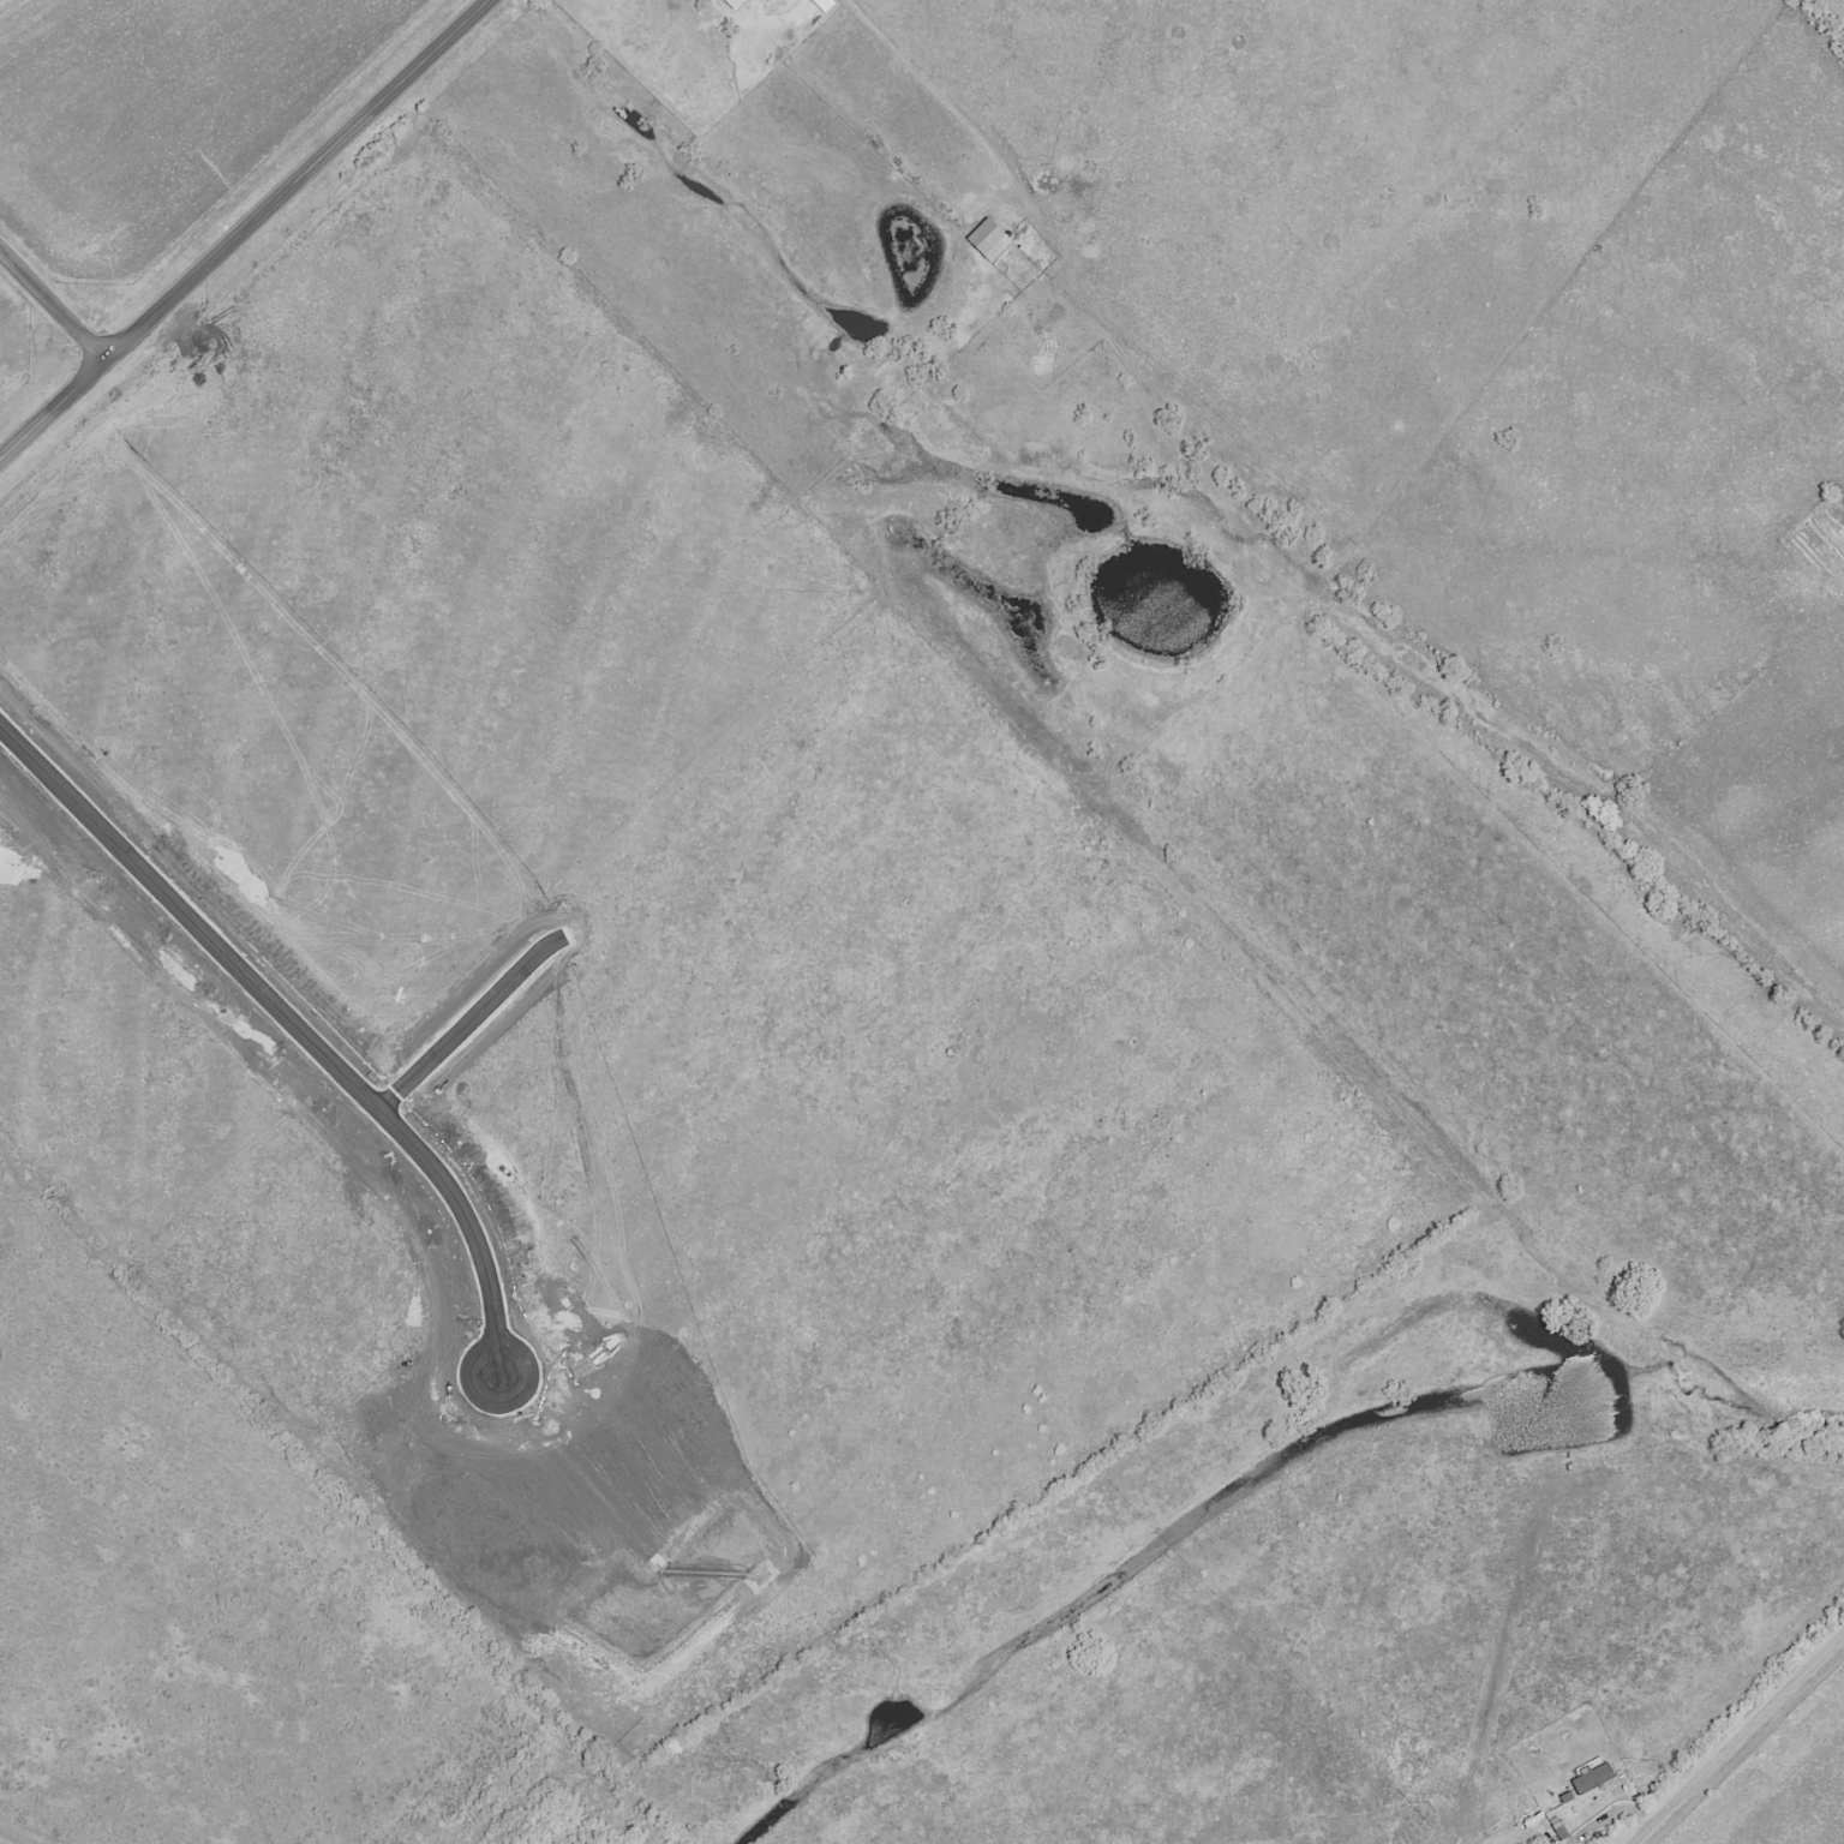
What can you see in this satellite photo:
building: (734, 4)
building: (822, 5)
road: (245, 230)
building: (988, 240)
road: (53, 306)
road: (1737, 1740)
building: (1587, 1782)

